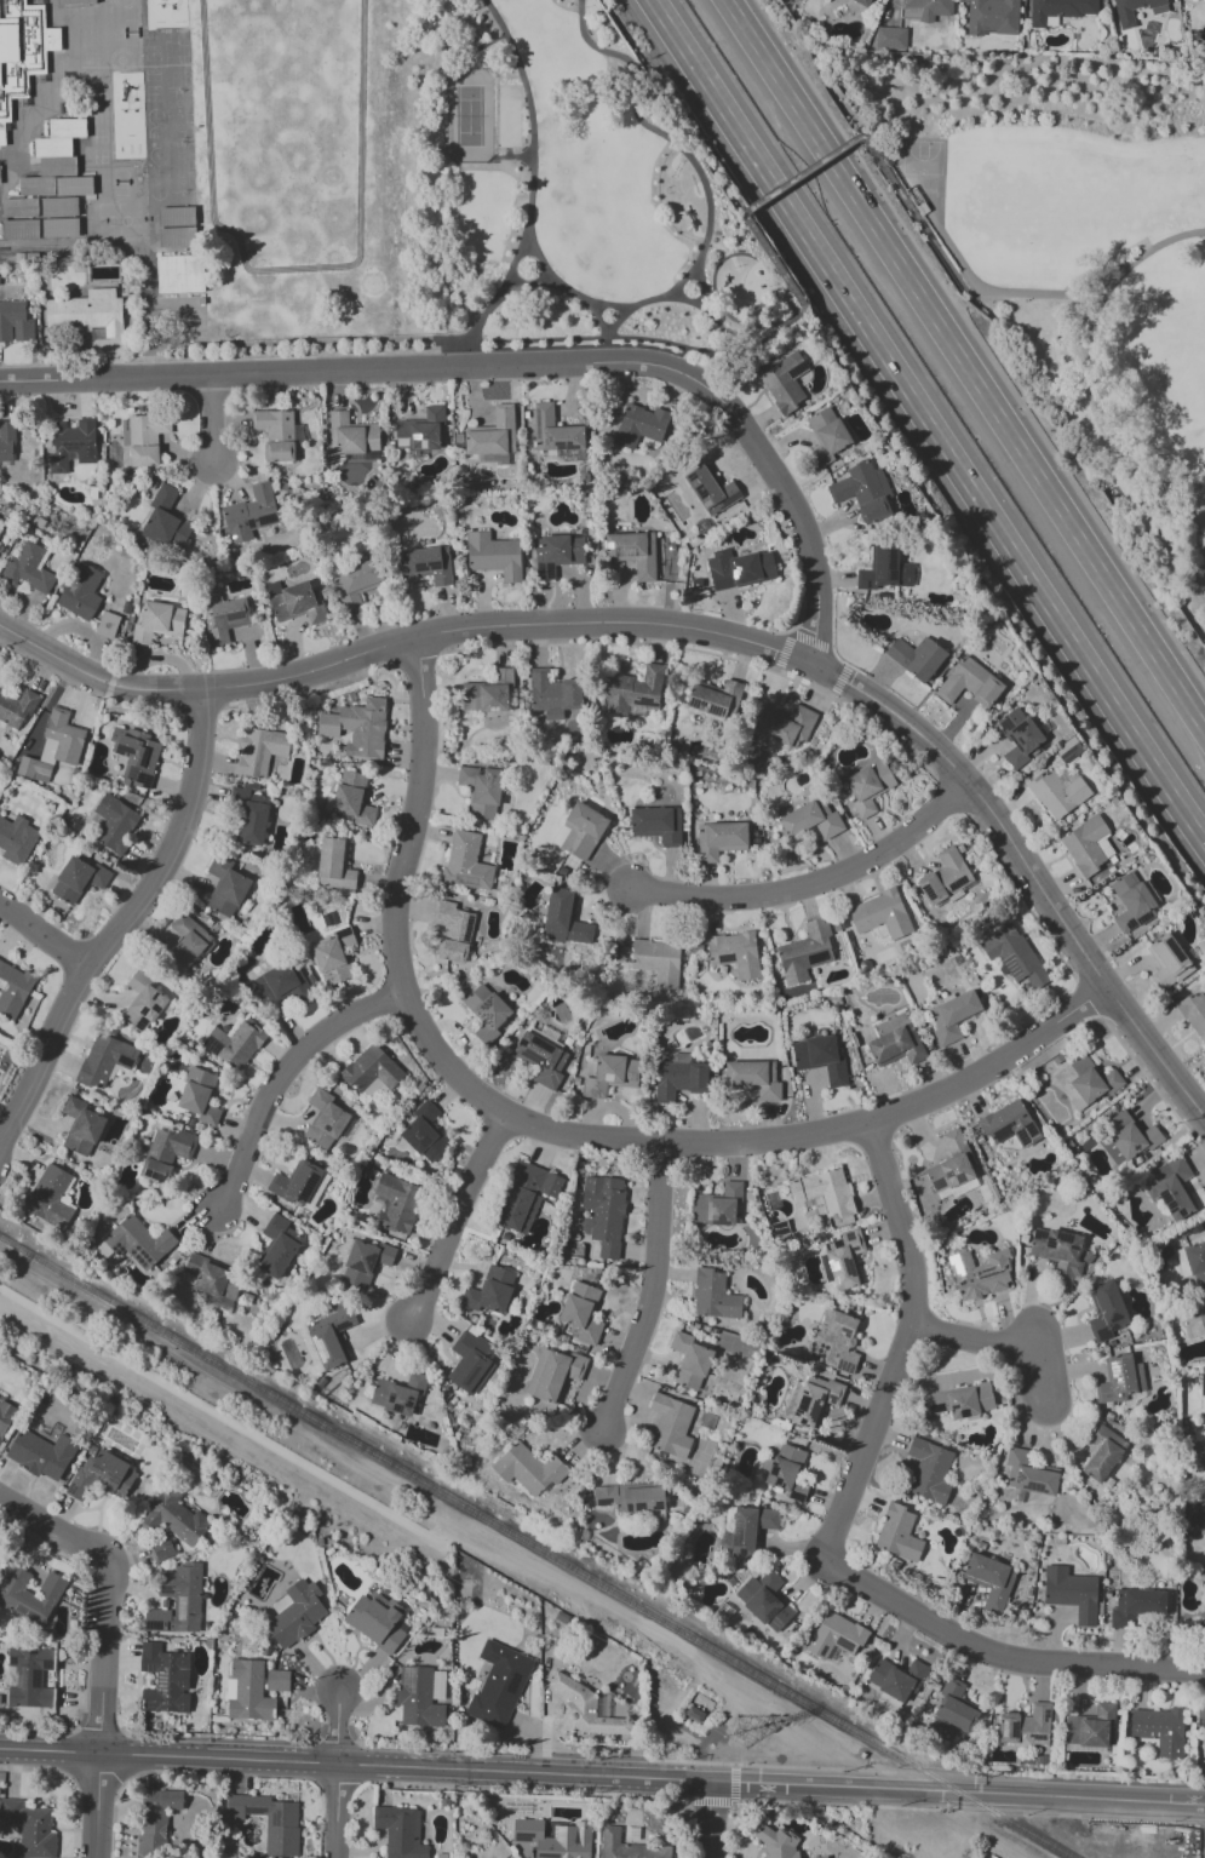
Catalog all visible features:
building: (862, 2)
rooftop solar panel: (1154, 2)
building: (931, 10)
building: (1061, 10)
building: (1124, 15)
building: (992, 17)
park: (128, 33)
building: (890, 38)
road: (493, 41)
building: (21, 52)
park: (179, 115)
park: (509, 115)
park: (153, 116)
park: (469, 116)
building: (68, 127)
track: (285, 127)
park: (154, 134)
building: (53, 148)
road: (834, 151)
park: (155, 155)
road: (512, 157)
park: (923, 157)
building: (58, 166)
park: (182, 168)
road: (696, 171)
park: (156, 172)
park: (120, 182)
building: (38, 187)
building: (75, 187)
road: (532, 188)
park: (156, 191)
park: (593, 200)
building: (59, 207)
building: (21, 208)
building: (177, 217)
park: (119, 222)
building: (59, 228)
building: (21, 230)
building: (178, 237)
road: (717, 247)
park: (1071, 254)
road: (540, 258)
building: (179, 274)
road: (683, 280)
road: (526, 285)
road: (1037, 292)
road: (979, 293)
road: (661, 298)
road: (758, 298)
road: (586, 300)
road: (702, 300)
building: (86, 314)
road: (598, 320)
building: (15, 322)
road: (580, 339)
road: (295, 343)
road: (455, 345)
road: (736, 351)
road: (292, 352)
road: (964, 365)
road: (510, 368)
road: (147, 369)
rooftop solar panel: (796, 369)
building: (784, 383)
road: (926, 422)
road: (1101, 422)
road: (208, 423)
rooftop solar panel: (533, 425)
building: (639, 425)
building: (420, 430)
building: (275, 434)
building: (492, 434)
building: (826, 436)
building: (143, 438)
building: (352, 438)
rooftop solar panel: (541, 440)
building: (6, 441)
rooftop solar panel: (91, 442)
building: (71, 445)
rooftop solar panel: (568, 445)
rooftop solar panel: (70, 446)
rooftop solar panel: (555, 447)
building: (492, 459)
rooftop solar panel: (59, 470)
rooftop solar panel: (688, 477)
rooftop solar panel: (696, 489)
building: (710, 489)
building: (862, 492)
rooftop solar panel: (728, 499)
rooftop solar panel: (704, 504)
building: (249, 514)
rooftop solar panel: (266, 520)
building: (166, 522)
building: (0, 523)
rooftop solar panel: (251, 524)
rooftop solar panel: (573, 534)
building: (0, 540)
rooftop solar panel: (606, 547)
building: (555, 552)
rooftop solar panel: (625, 552)
building: (632, 552)
rooftop solar panel: (615, 554)
building: (493, 555)
building: (426, 564)
rooftop solar panel: (432, 564)
rooftop solar panel: (893, 564)
building: (28, 568)
rooftop solar panel: (417, 568)
building: (739, 569)
building: (885, 569)
rooftop solar panel: (549, 572)
rooftop solar panel: (539, 574)
rooftop solar panel: (894, 574)
building: (355, 584)
building: (80, 591)
building: (294, 602)
building: (224, 618)
building: (157, 623)
building: (107, 625)
road: (704, 629)
building: (916, 656)
road: (762, 669)
rooftop solar panel: (647, 676)
building: (969, 683)
building: (633, 690)
building: (487, 693)
building: (552, 694)
building: (717, 699)
rooftop solar panel: (643, 701)
rooftop solar panel: (693, 703)
building: (17, 709)
rooftop solar panel: (711, 709)
building: (784, 724)
building: (357, 727)
building: (1018, 736)
building: (53, 747)
rooftop solar panel: (126, 751)
building: (260, 751)
rooftop solar panel: (1066, 753)
building: (134, 756)
rooftop solar panel: (142, 780)
building: (867, 787)
building: (481, 788)
building: (1058, 790)
building: (350, 798)
building: (249, 813)
building: (810, 820)
building: (115, 822)
building: (656, 824)
building: (579, 831)
building: (16, 839)
building: (719, 839)
building: (1088, 844)
building: (465, 861)
building: (333, 864)
building: (945, 877)
building: (76, 879)
rooftop solar panel: (962, 881)
road: (821, 882)
building: (225, 887)
rooftop solar panel: (926, 889)
rooftop solar panel: (930, 896)
building: (1130, 902)
building: (880, 914)
building: (563, 918)
rooftop solar panel: (1144, 919)
rooftop solar panel: (1130, 924)
road: (115, 928)
building: (453, 931)
road: (41, 935)
building: (185, 942)
rooftop solar panel: (1172, 950)
building: (804, 952)
building: (734, 953)
building: (1012, 954)
building: (333, 957)
rooftop solar panel: (817, 959)
rooftop solar panel: (727, 960)
building: (656, 962)
building: (1167, 962)
building: (257, 970)
building: (277, 985)
building: (12, 988)
rooftop solar panel: (154, 996)
building: (142, 1002)
rooftop solar panel: (484, 1004)
rooftop solar panel: (157, 1008)
rooftop solar panel: (142, 1009)
building: (486, 1011)
building: (1194, 1014)
building: (952, 1016)
rooftop solar panel: (484, 1019)
rooftop solar panel: (142, 1022)
building: (234, 1043)
rooftop solar panel: (212, 1046)
building: (896, 1046)
building: (540, 1059)
building: (820, 1059)
building: (104, 1060)
rooftop solar panel: (121, 1062)
building: (371, 1070)
building: (609, 1074)
road: (286, 1077)
building: (678, 1078)
building: (752, 1079)
building: (1085, 1082)
building: (199, 1096)
building: (326, 1120)
building: (1009, 1124)
building: (81, 1126)
rooftop solar panel: (1000, 1130)
building: (424, 1132)
rooftop solar panel: (1003, 1135)
road: (560, 1136)
rooftop solar panel: (1021, 1139)
building: (1126, 1139)
building: (163, 1153)
building: (952, 1166)
rooftop solar panel: (949, 1176)
rooftop solar panel: (151, 1179)
rooftop solar panel: (958, 1179)
rooftop solar panel: (311, 1181)
rooftop solar panel: (940, 1185)
rooftop solar panel: (305, 1186)
building: (1170, 1188)
building: (824, 1191)
building: (526, 1195)
building: (50, 1197)
rooftop solar panel: (1164, 1199)
building: (395, 1203)
building: (717, 1205)
rooftop solar panel: (1170, 1206)
rooftop solar panel: (708, 1211)
building: (604, 1212)
rooftop solar panel: (1181, 1214)
road: (458, 1221)
rooftop solar panel: (717, 1225)
rooftop solar panel: (1039, 1233)
rooftop solar panel: (1060, 1234)
rooftop solar panel: (848, 1235)
building: (138, 1241)
building: (277, 1246)
rooftop solar panel: (854, 1249)
building: (1057, 1252)
building: (844, 1258)
building: (363, 1262)
building: (1197, 1262)
rooftop solar panel: (956, 1263)
rooftop solar panel: (832, 1265)
rooftop solar panel: (850, 1266)
building: (979, 1274)
rooftop solar panel: (837, 1279)
building: (213, 1280)
building: (489, 1291)
road: (650, 1295)
building: (713, 1295)
building: (1104, 1311)
building: (581, 1312)
rooftop solar panel: (1115, 1318)
building: (1201, 1320)
rooftop solar panel: (1115, 1327)
rooftop solar panel: (847, 1332)
rooftop solar panel: (1101, 1334)
building: (329, 1337)
rooftop solar panel: (827, 1338)
building: (836, 1341)
road: (1005, 1342)
road: (906, 1347)
building: (471, 1360)
building: (689, 1360)
rooftop solar panel: (847, 1365)
rooftop solar panel: (1118, 1370)
building: (553, 1375)
building: (1119, 1380)
building: (1201, 1393)
building: (397, 1394)
rooftop solar panel: (390, 1395)
rooftop solar panel: (807, 1395)
rooftop solar panel: (790, 1397)
rooftop solar panel: (825, 1398)
rooftop solar panel: (832, 1399)
building: (814, 1400)
building: (960, 1401)
rooftop solar panel: (804, 1404)
rooftop solar panel: (956, 1406)
rooftop solar panel: (395, 1409)
rooftop solar panel: (933, 1409)
rooftop solar panel: (798, 1411)
rooftop solar panel: (962, 1411)
road: (212, 1413)
rooftop solar panel: (797, 1415)
building: (5, 1416)
building: (670, 1426)
building: (1101, 1451)
building: (41, 1453)
rooftop solar panel: (774, 1466)
rooftop solar panel: (97, 1469)
building: (528, 1469)
building: (929, 1470)
building: (787, 1472)
rooftop solar panel: (773, 1473)
building: (101, 1474)
rooftop solar panel: (109, 1474)
building: (1028, 1474)
rooftop solar panel: (1021, 1476)
rooftop solar panel: (779, 1483)
rooftop solar panel: (68, 1489)
rooftop solar panel: (1032, 1489)
building: (630, 1497)
rooftop solar panel: (797, 1497)
rooftop solar panel: (607, 1503)
rooftop solar panel: (658, 1506)
rooftop solar panel: (627, 1508)
rooftop solar panel: (637, 1508)
building: (173, 1518)
building: (750, 1529)
road: (53, 1530)
rooftop solar panel: (738, 1533)
building: (897, 1533)
railway: (536, 1547)
building: (161, 1549)
building: (989, 1581)
rooftop solar panel: (165, 1589)
building: (1071, 1593)
building: (29, 1594)
building: (177, 1600)
building: (764, 1600)
building: (1136, 1607)
rooftop solar panel: (179, 1610)
building: (294, 1613)
building: (377, 1621)
rooftop solar panel: (151, 1625)
rooftop solar panel: (166, 1625)
rooftop solar panel: (179, 1629)
building: (834, 1635)
road: (85, 1640)
road: (1000, 1653)
road: (103, 1657)
rooftop solar panel: (489, 1659)
road: (649, 1663)
rooftop solar panel: (148, 1668)
building: (28, 1676)
rooftop solar panel: (33, 1678)
rooftop solar panel: (409, 1678)
building: (896, 1678)
building: (163, 1679)
building: (276, 1680)
rooftop solar panel: (513, 1680)
rooftop solar panel: (18, 1681)
rooftop solar panel: (161, 1682)
rooftop solar panel: (178, 1682)
building: (498, 1684)
building: (246, 1691)
building: (417, 1697)
rooftop solar panel: (149, 1707)
rooftop solar panel: (178, 1708)
building: (583, 1709)
building: (953, 1709)
rooftop solar panel: (1045, 1714)
building: (1200, 1717)
building: (1025, 1726)
building: (1090, 1727)
rooftop solar panel: (1004, 1728)
rooftop solar panel: (1014, 1730)
building: (1159, 1730)
road: (99, 1732)
rooftop solar panel: (1038, 1736)
road: (423, 1750)
road: (125, 1757)
road: (334, 1772)
road: (602, 1777)
road: (1040, 1778)
road: (71, 1783)
road: (114, 1799)
road: (675, 1801)
road: (728, 1803)
road: (97, 1805)
rooftop solar panel: (257, 1810)
road: (941, 1810)
rooftop solar panel: (277, 1819)
road: (725, 1820)
building: (155, 1822)
building: (269, 1822)
building: (29, 1829)
building: (400, 1831)
building: (553, 1837)
rooftop solar panel: (528, 1840)
building: (779, 1843)
building: (627, 1847)
building: (825, 1857)

